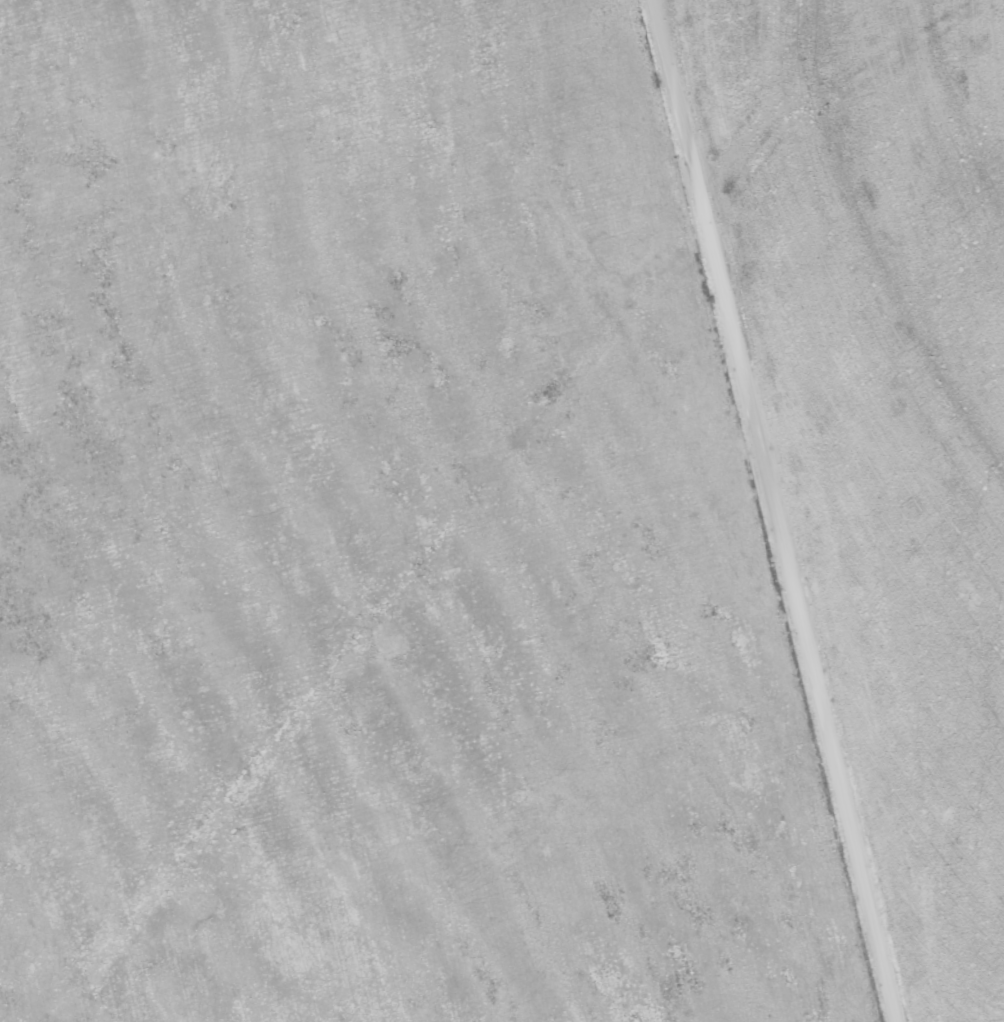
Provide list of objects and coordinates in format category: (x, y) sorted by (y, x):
road: (763, 511)

